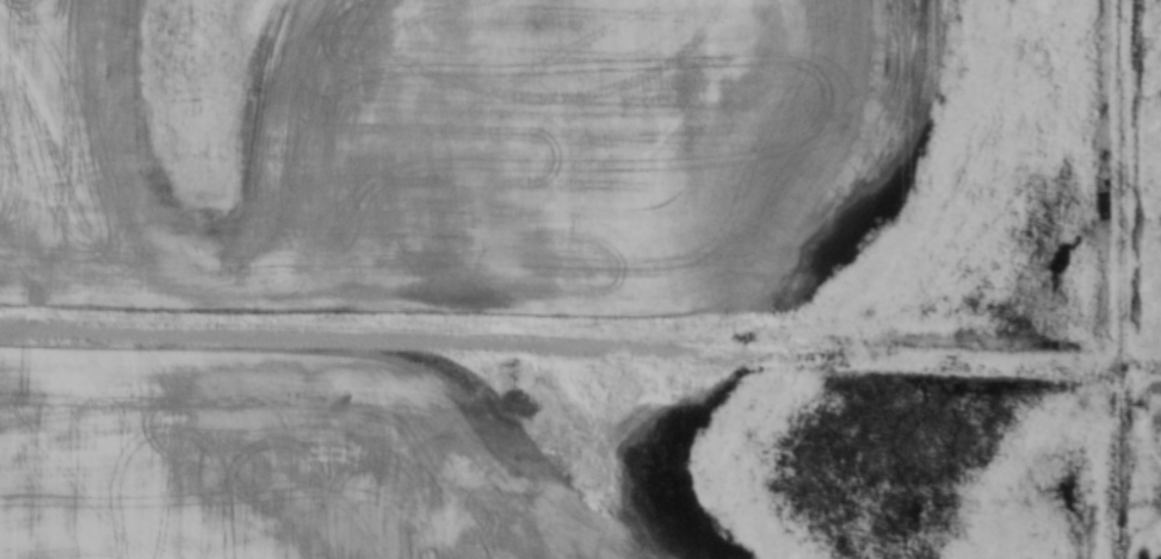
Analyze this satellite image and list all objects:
road: (1122, 279)
road: (580, 340)

